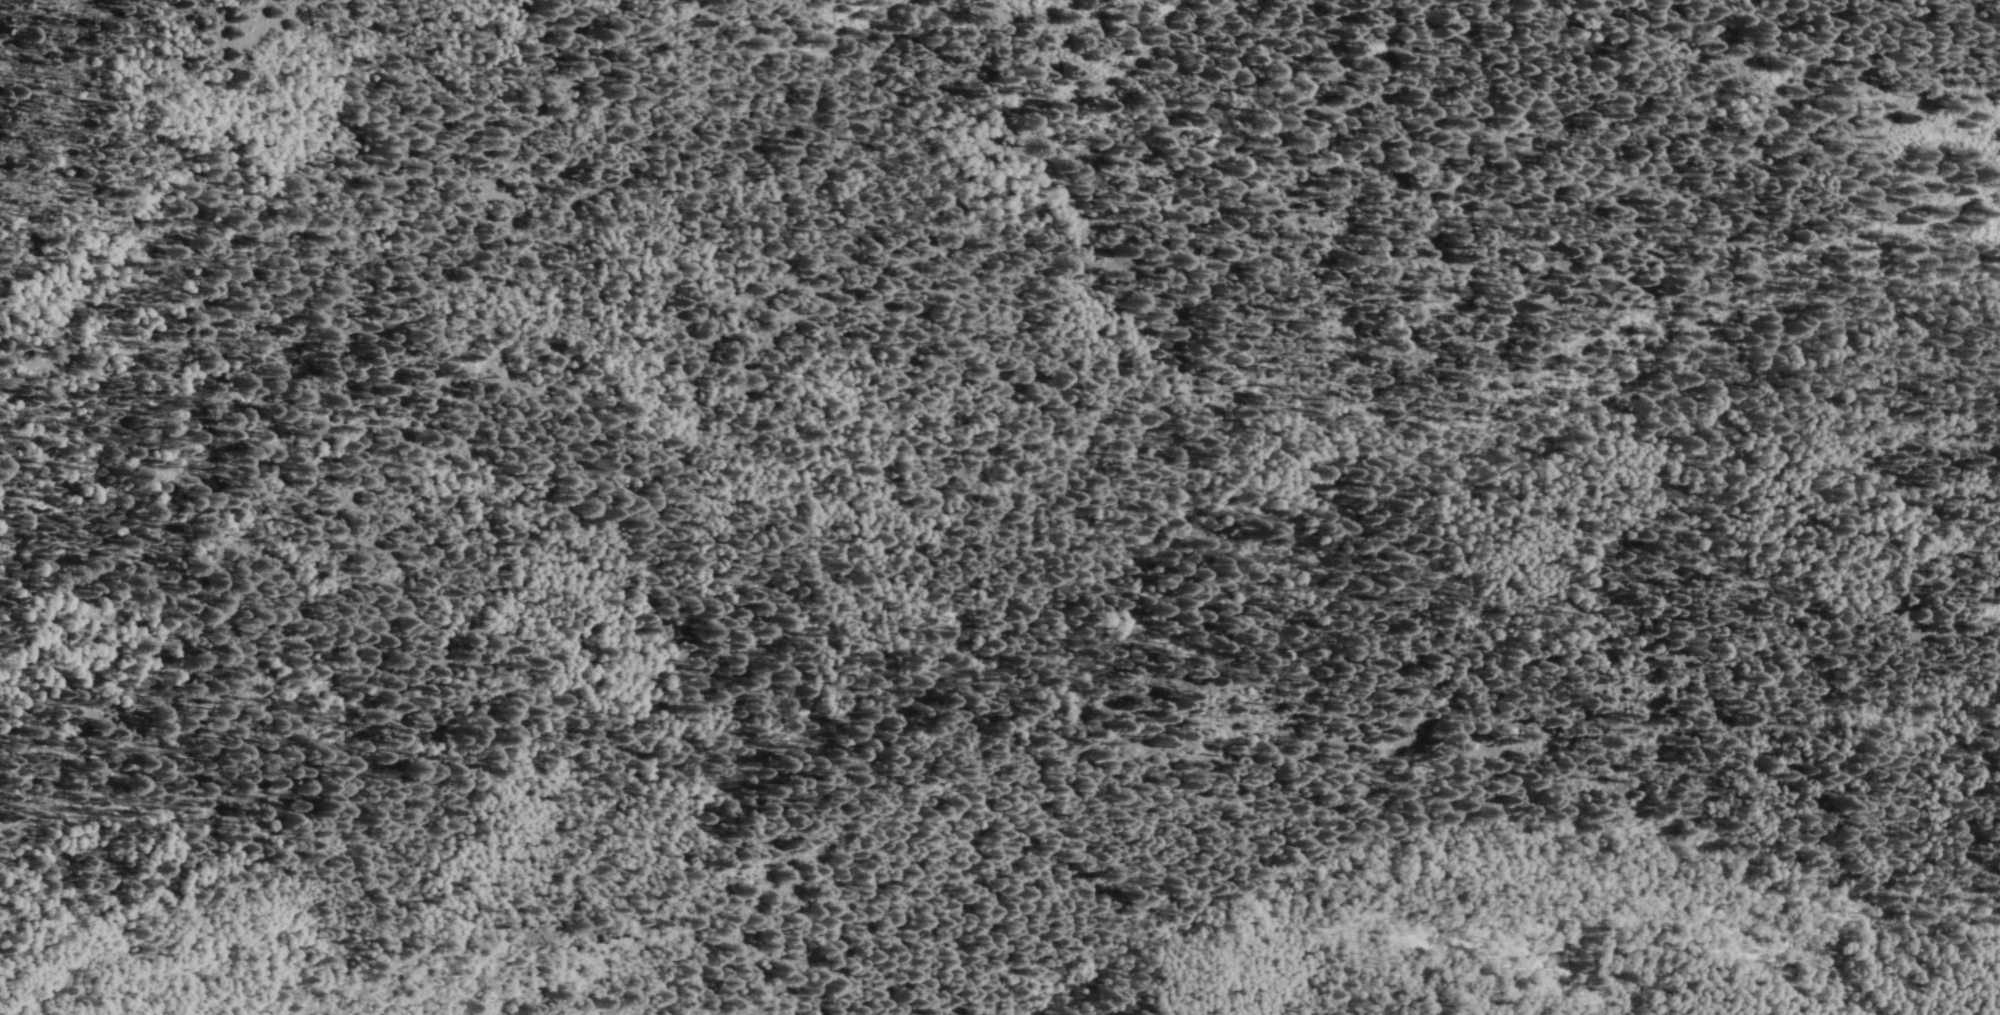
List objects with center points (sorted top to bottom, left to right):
road: (1378, 243)

